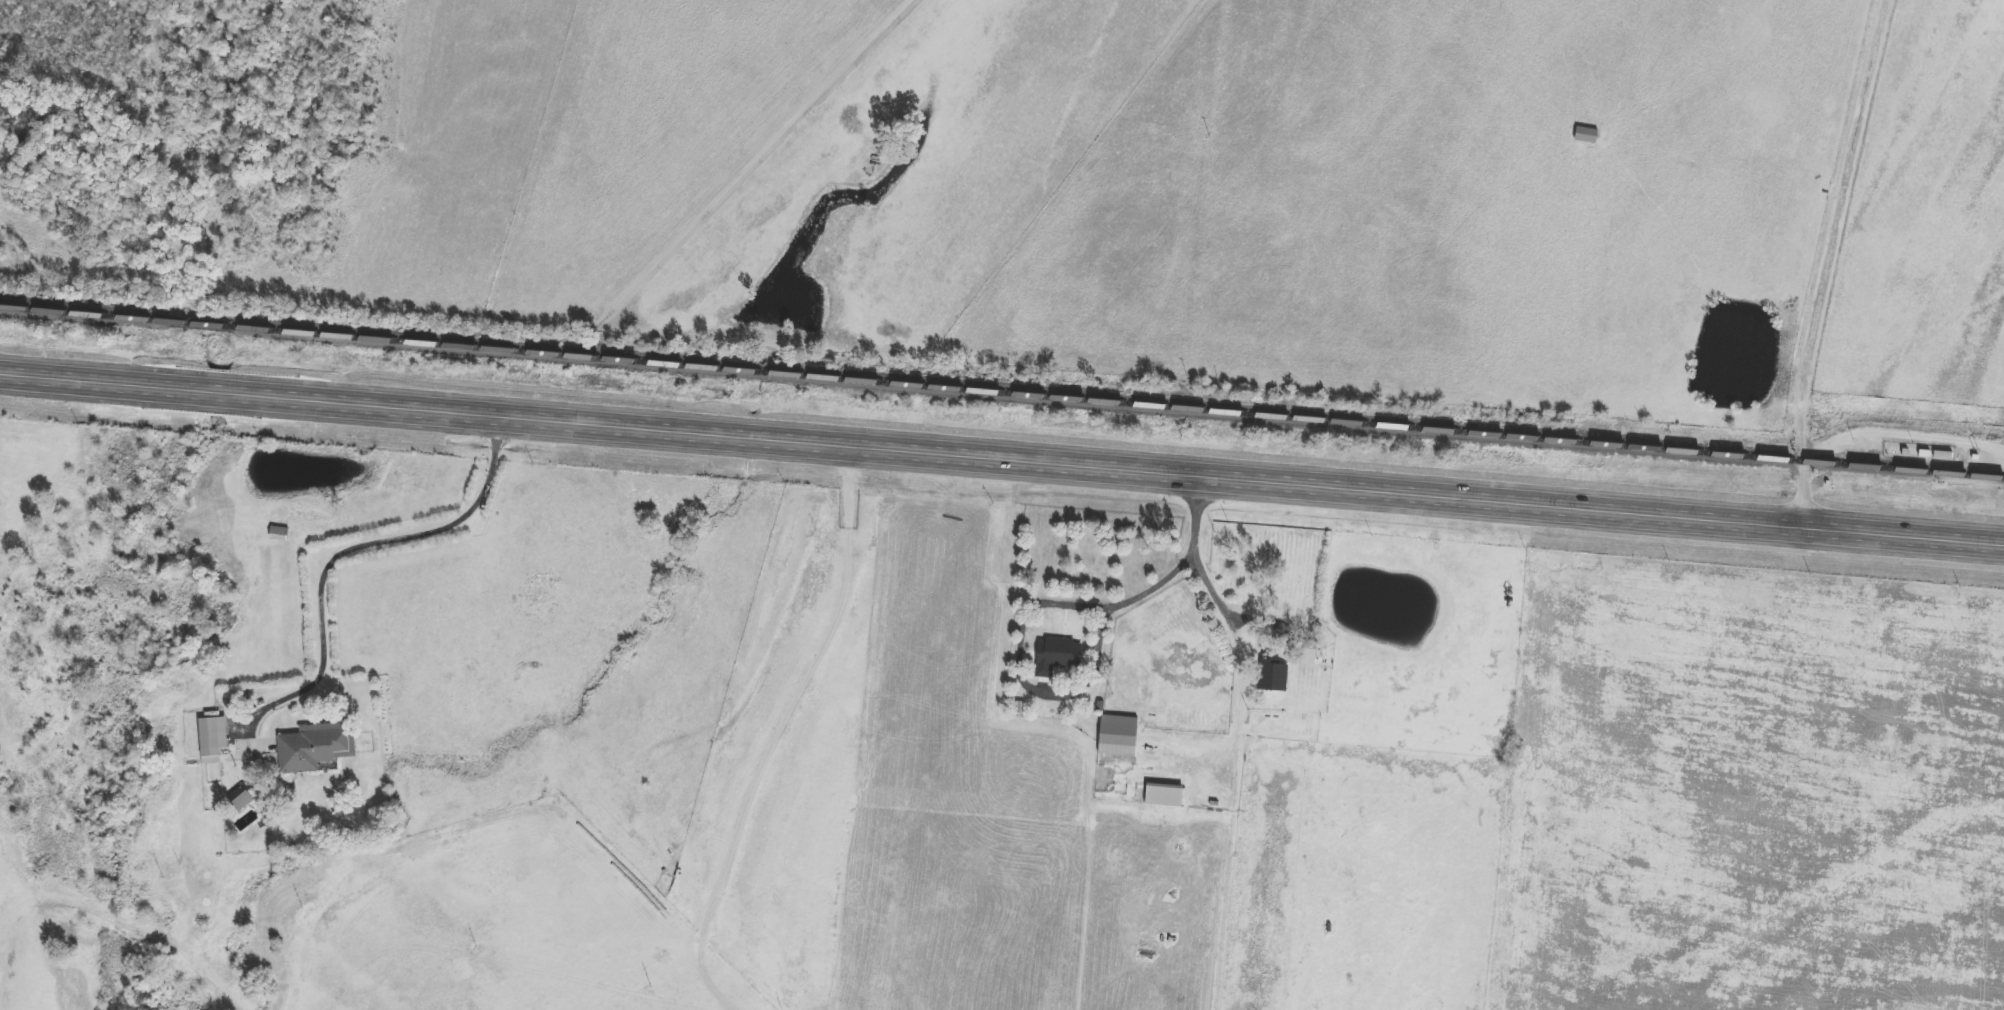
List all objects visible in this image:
road: (1826, 264)
railway: (84, 312)
railway: (200, 322)
railway: (1117, 401)
building: (1942, 451)
road: (1001, 469)
railway: (1987, 474)
building: (285, 533)
road: (346, 549)
road: (1132, 598)
road: (1233, 618)
road: (1019, 649)
building: (1315, 653)
building: (1057, 655)
building: (1271, 675)
building: (1118, 735)
building: (213, 737)
building: (316, 746)
building: (1164, 794)
building: (240, 798)

